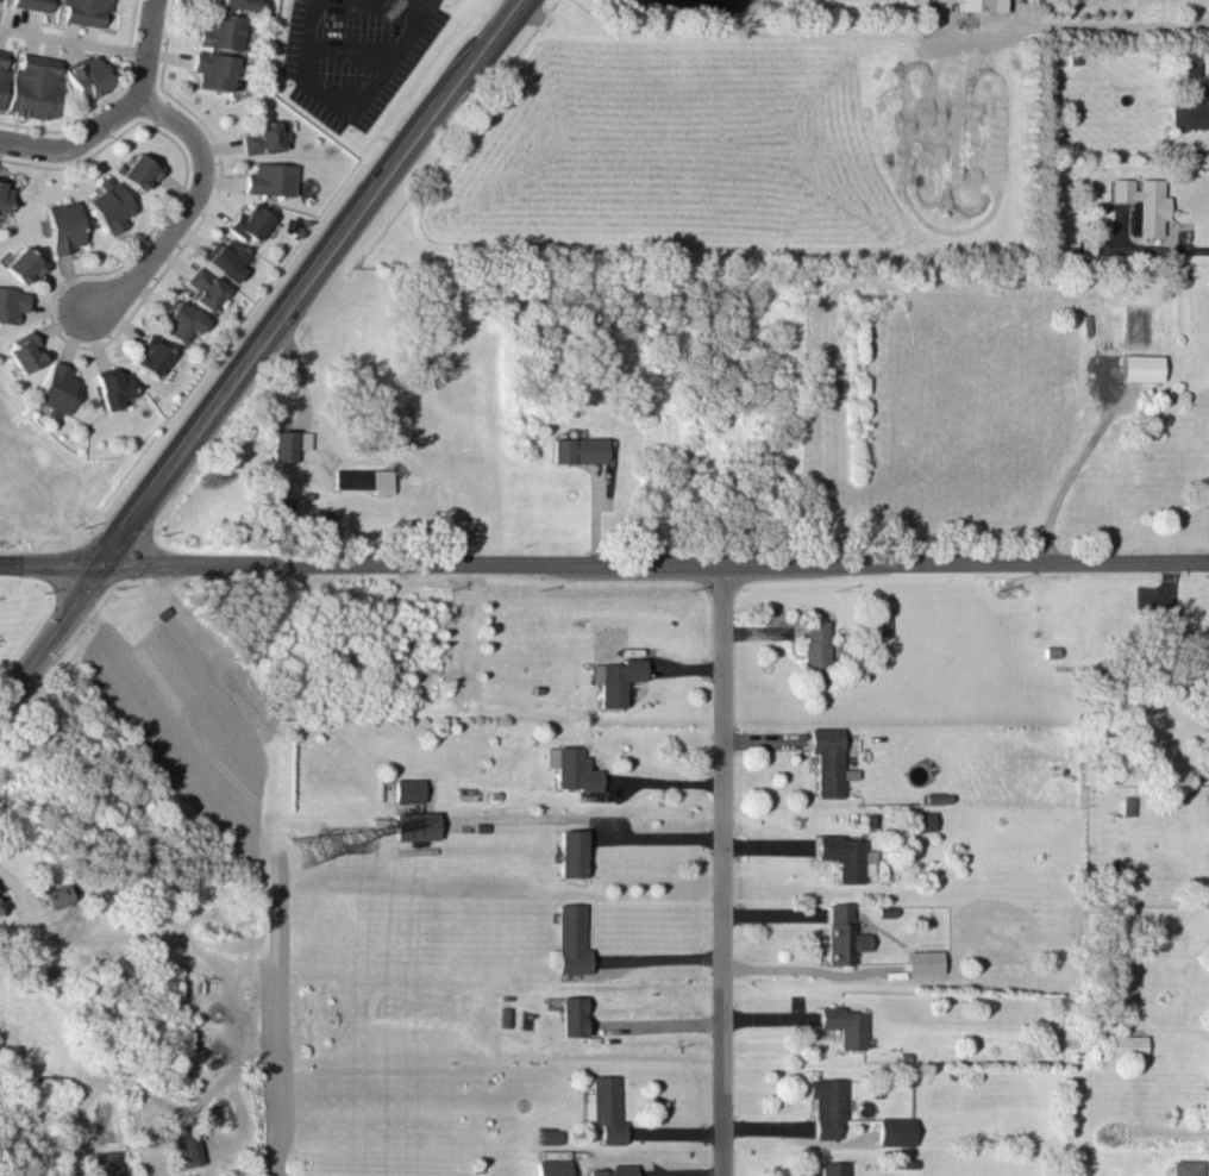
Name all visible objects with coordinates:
road: (395, 1)
road: (427, 2)
building: (31, 4)
building: (236, 4)
building: (977, 5)
building: (84, 11)
road: (1110, 23)
road: (966, 24)
building: (221, 30)
road: (73, 39)
road: (350, 48)
building: (1188, 67)
building: (213, 69)
building: (1, 71)
building: (86, 75)
road: (372, 83)
building: (33, 86)
road: (113, 112)
building: (262, 137)
building: (138, 169)
building: (269, 177)
building: (4, 196)
building: (1139, 202)
building: (108, 204)
road: (187, 205)
building: (248, 220)
building: (63, 225)
road: (1160, 248)
building: (223, 257)
building: (24, 262)
building: (202, 288)
building: (12, 302)
building: (178, 319)
building: (24, 351)
building: (150, 354)
road: (259, 359)
building: (1140, 365)
building: (112, 386)
building: (56, 389)
building: (289, 443)
building: (577, 449)
road: (1070, 471)
building: (364, 478)
building: (282, 503)
traffic signals: (114, 563)
road: (604, 563)
building: (815, 651)
building: (615, 678)
building: (827, 761)
building: (570, 768)
road: (666, 782)
building: (406, 789)
building: (935, 796)
building: (921, 820)
building: (413, 825)
road: (659, 837)
power tower: (311, 846)
building: (569, 852)
building: (844, 856)
road: (727, 869)
road: (12, 882)
building: (55, 895)
building: (0, 900)
building: (841, 934)
building: (571, 939)
road: (662, 958)
building: (921, 959)
road: (798, 967)
building: (572, 1015)
road: (665, 1021)
building: (842, 1024)
building: (1125, 1044)
building: (826, 1105)
building: (604, 1108)
building: (894, 1130)
building: (188, 1145)
building: (108, 1163)
building: (552, 1166)
building: (1184, 1166)
building: (832, 1168)
road: (658, 1169)
building: (613, 1170)

